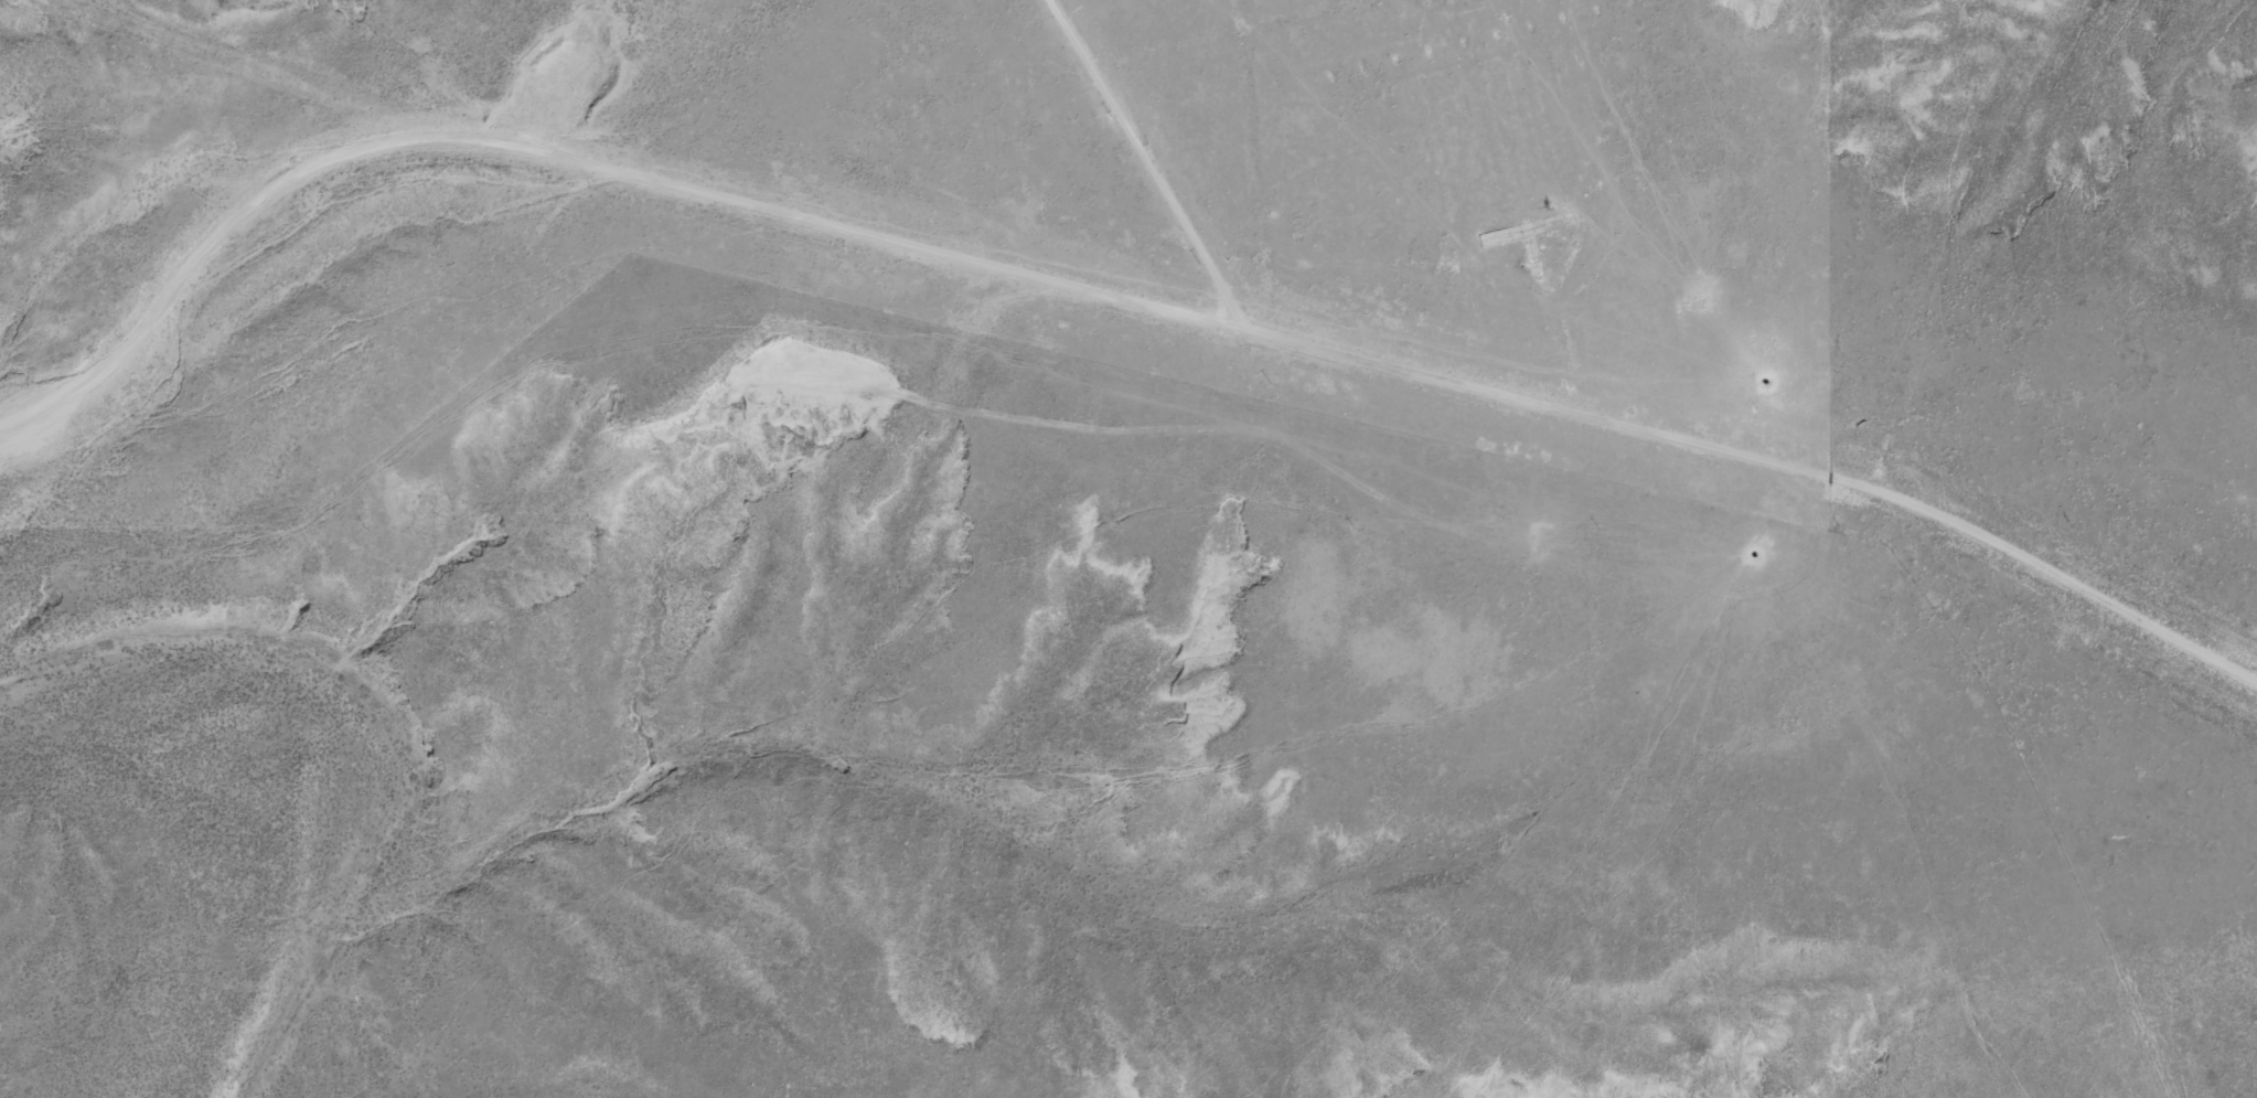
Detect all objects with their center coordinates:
road: (1109, 297)

